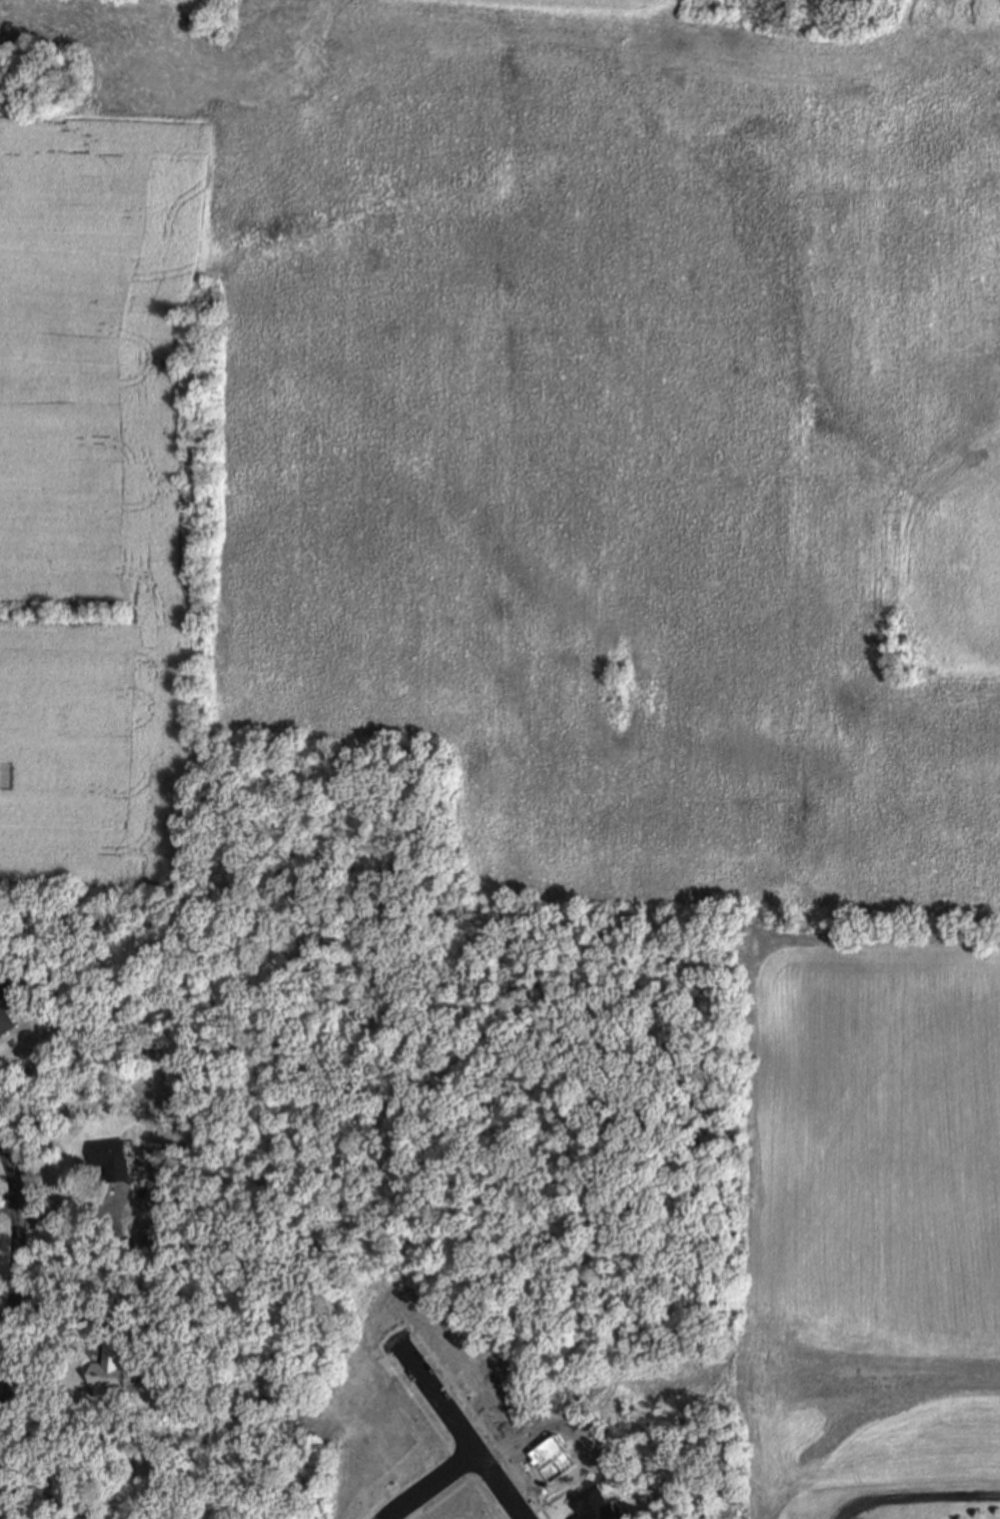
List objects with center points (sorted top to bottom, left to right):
crop: (502, 453)
building: (0, 971)
building: (5, 1014)
building: (112, 1157)
road: (8, 1199)
road: (74, 1217)
road: (13, 1287)
road: (57, 1310)
building: (157, 1324)
building: (110, 1366)
road: (455, 1423)
road: (481, 1424)
road: (438, 1441)
road: (403, 1474)
road: (426, 1482)
road: (442, 1499)
road: (917, 1500)
road: (360, 1511)

